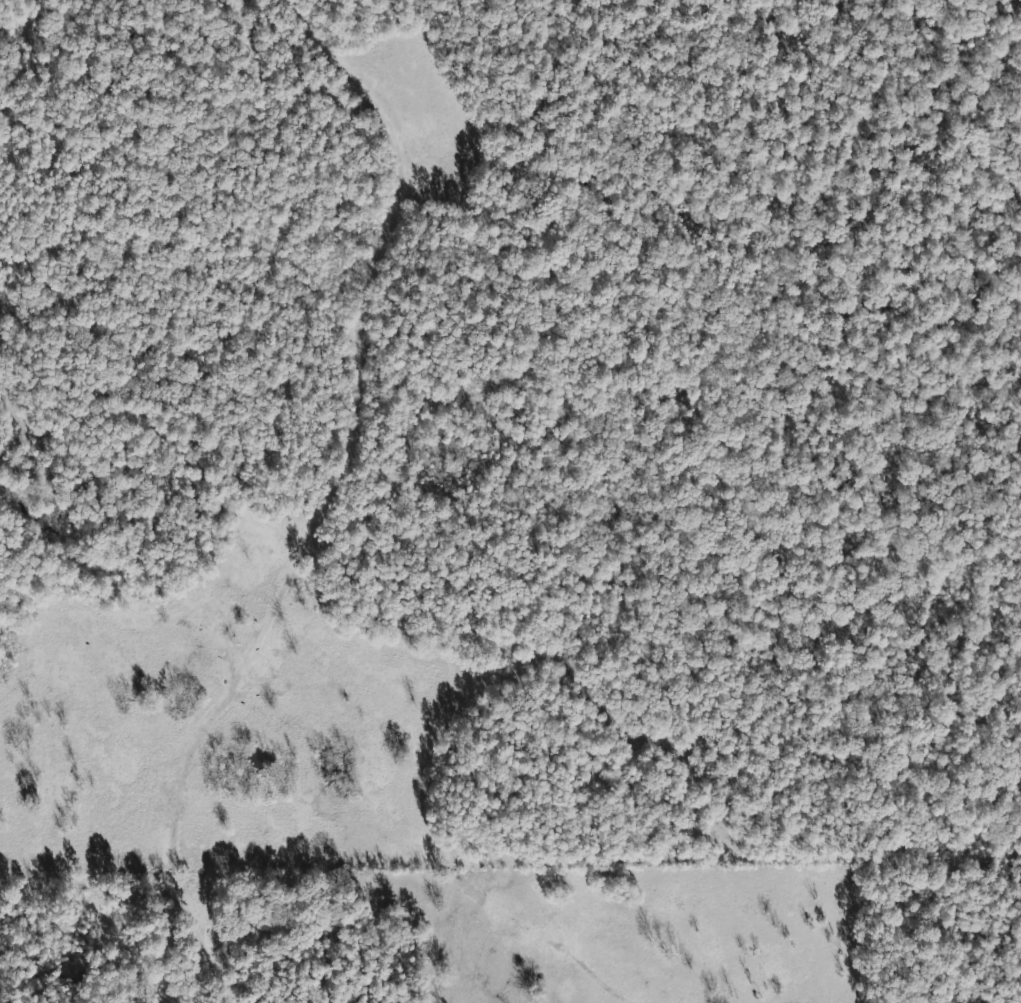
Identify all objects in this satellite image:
road: (335, 499)

